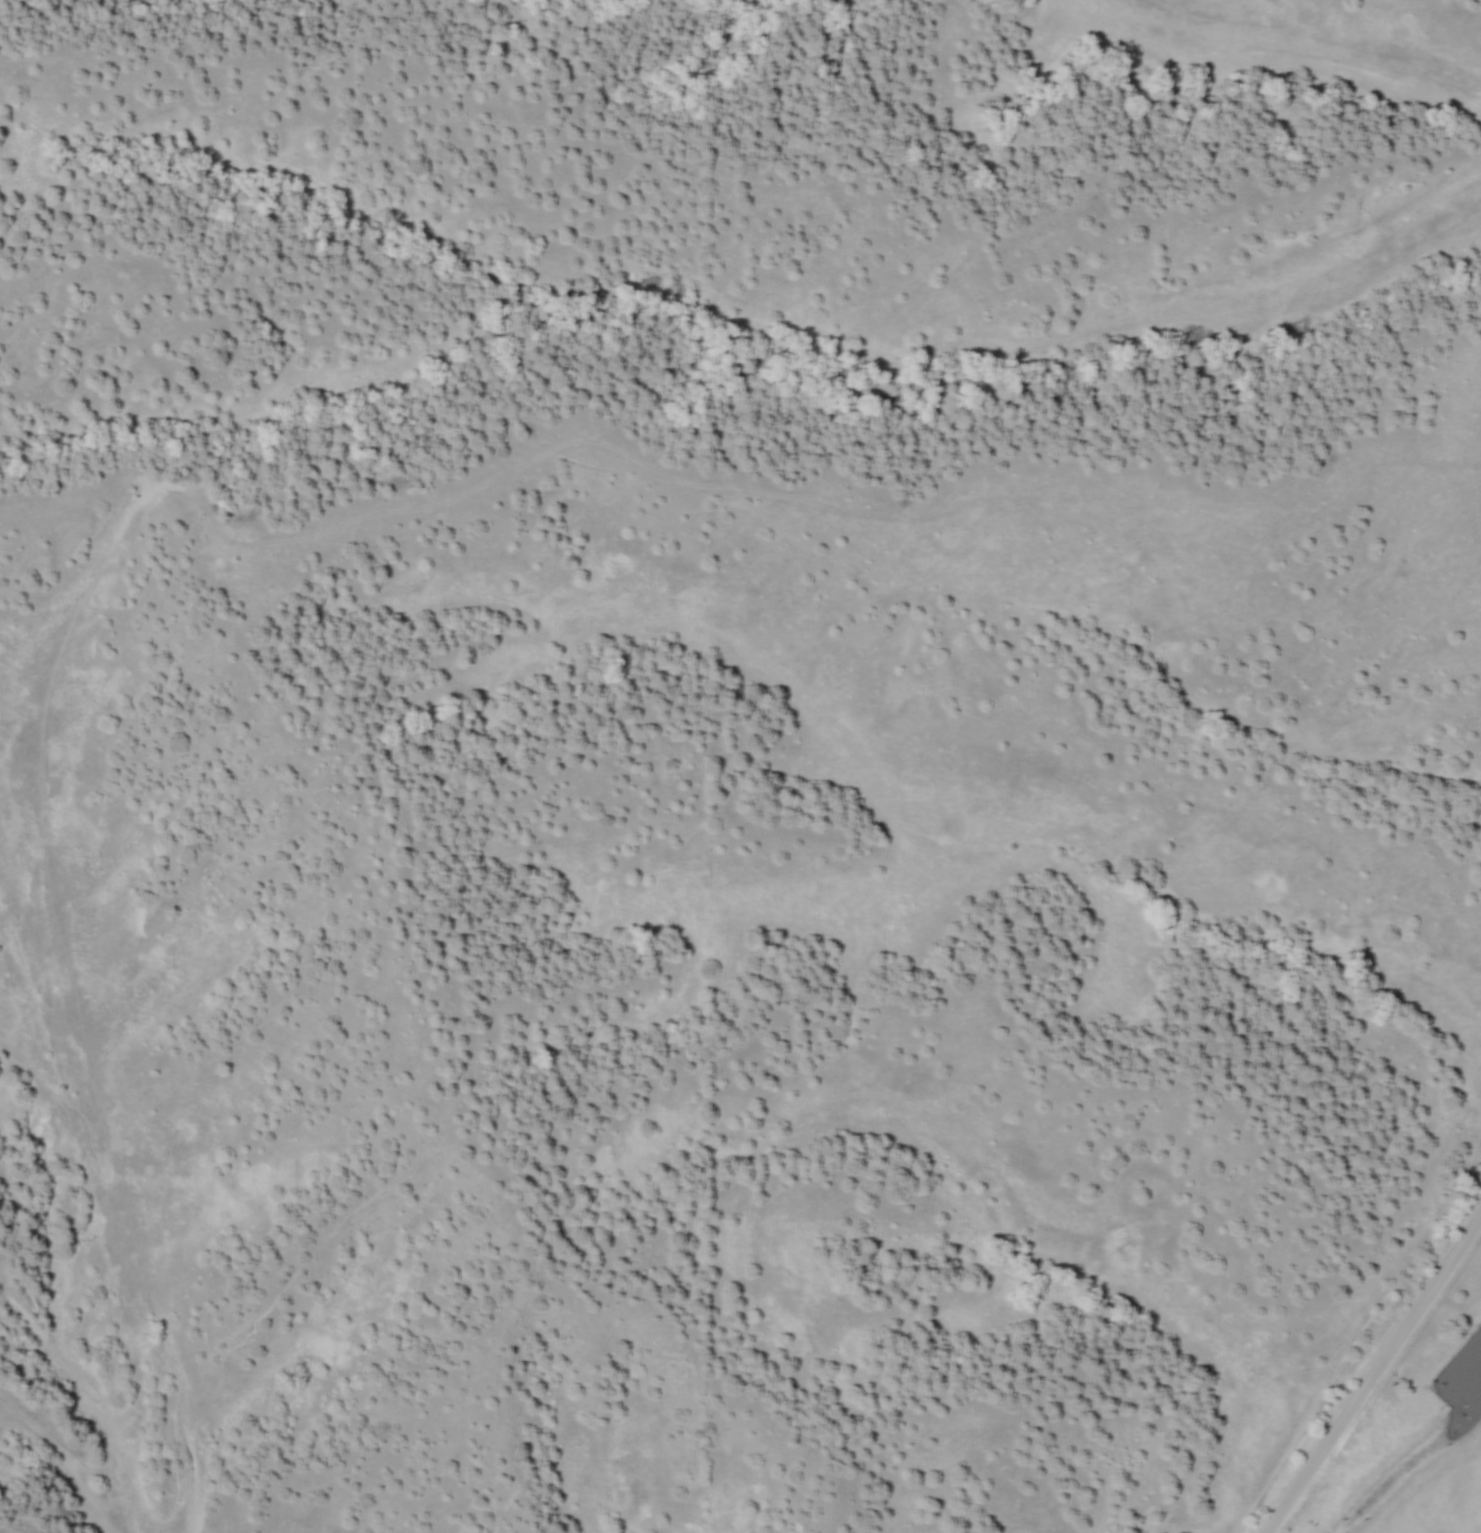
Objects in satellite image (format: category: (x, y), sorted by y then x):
road: (1370, 1369)

